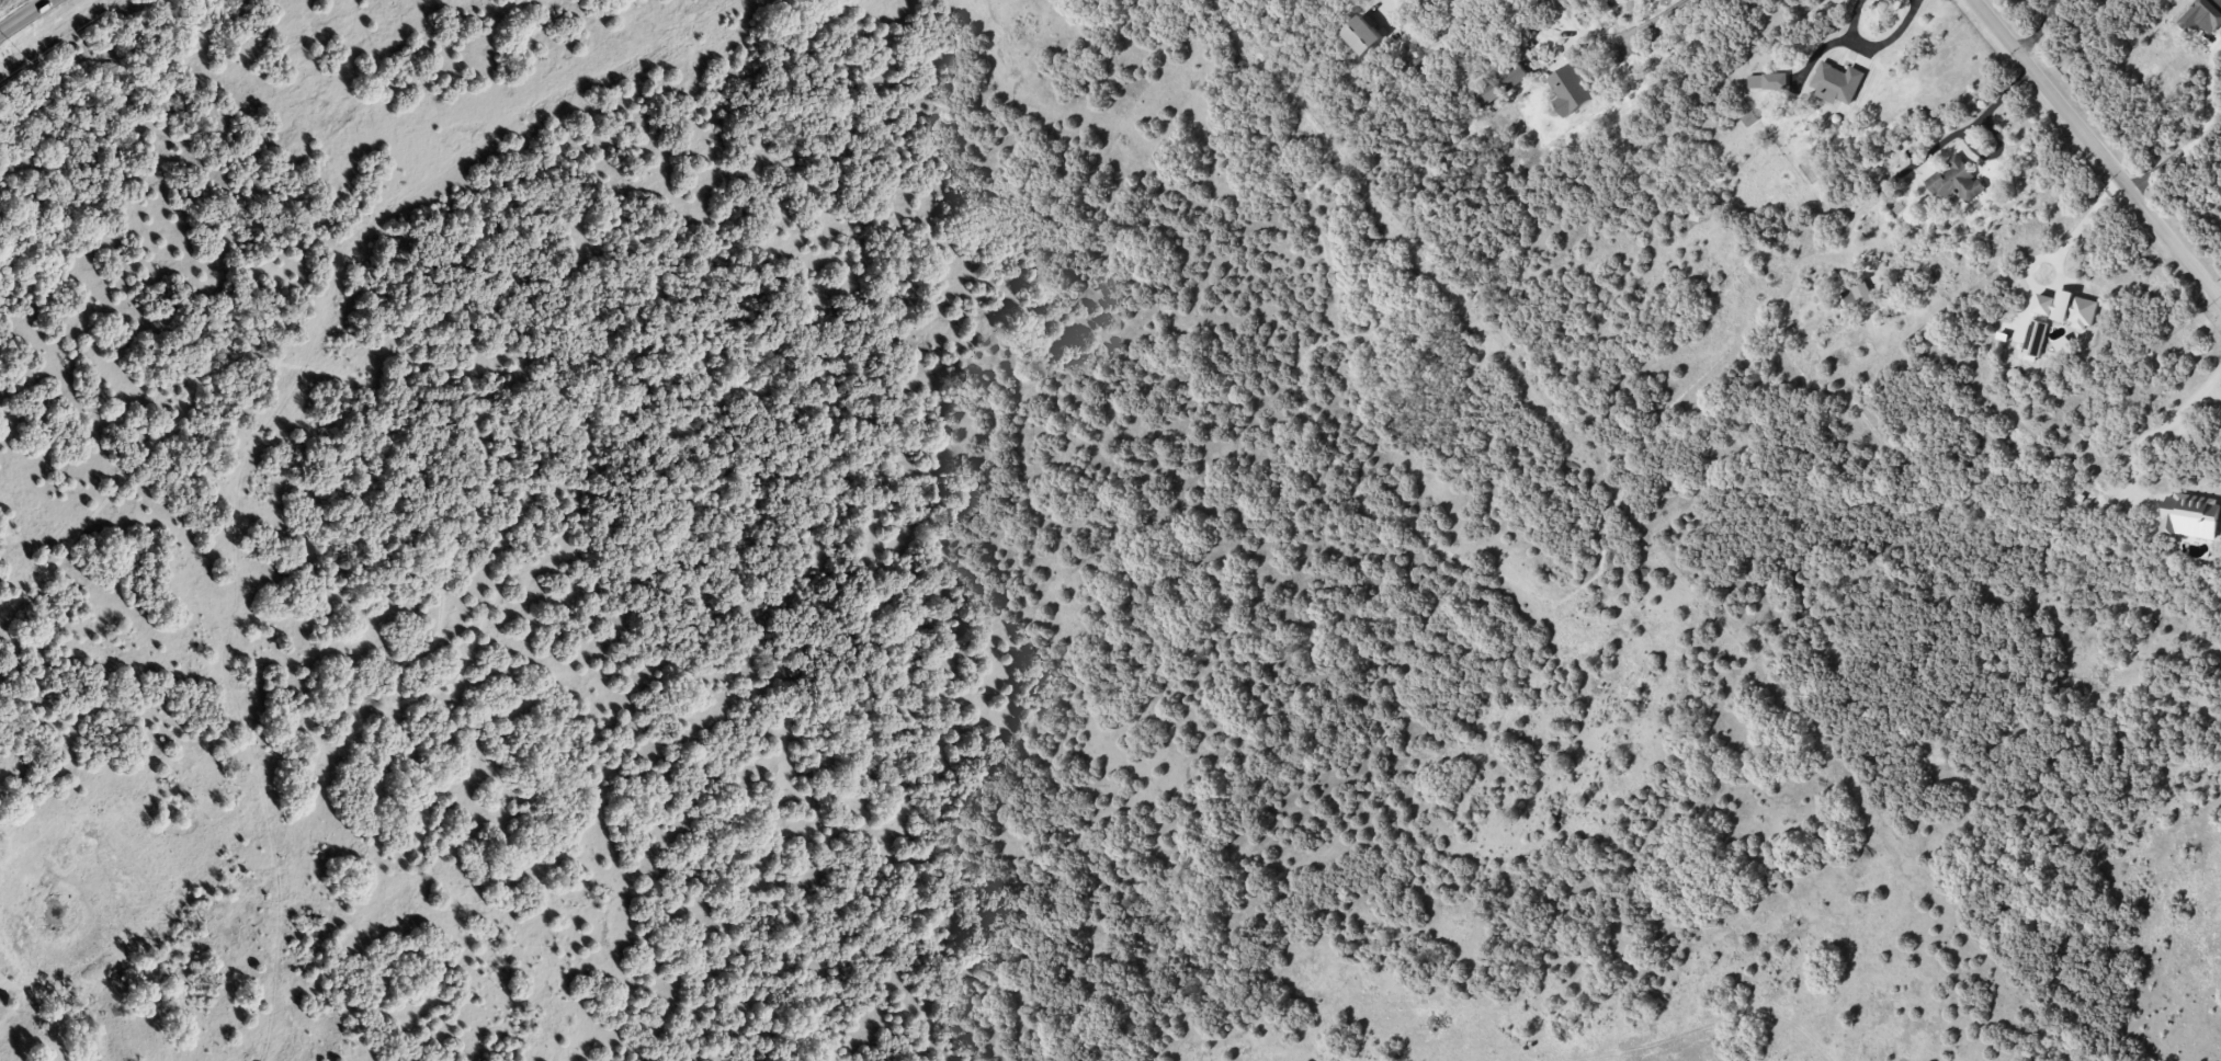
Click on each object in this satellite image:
road: (1384, 7)
road: (24, 15)
building: (2202, 15)
road: (1651, 19)
road: (2039, 28)
building: (1362, 35)
road: (1889, 38)
road: (1831, 42)
building: (1515, 73)
building: (1767, 81)
building: (1836, 82)
building: (1570, 89)
building: (1487, 93)
building: (1749, 118)
road: (1964, 127)
road: (2201, 132)
road: (2097, 151)
building: (1954, 181)
building: (1857, 296)
road: (2220, 300)
building: (2065, 308)
road: (2156, 432)
building: (2190, 515)

